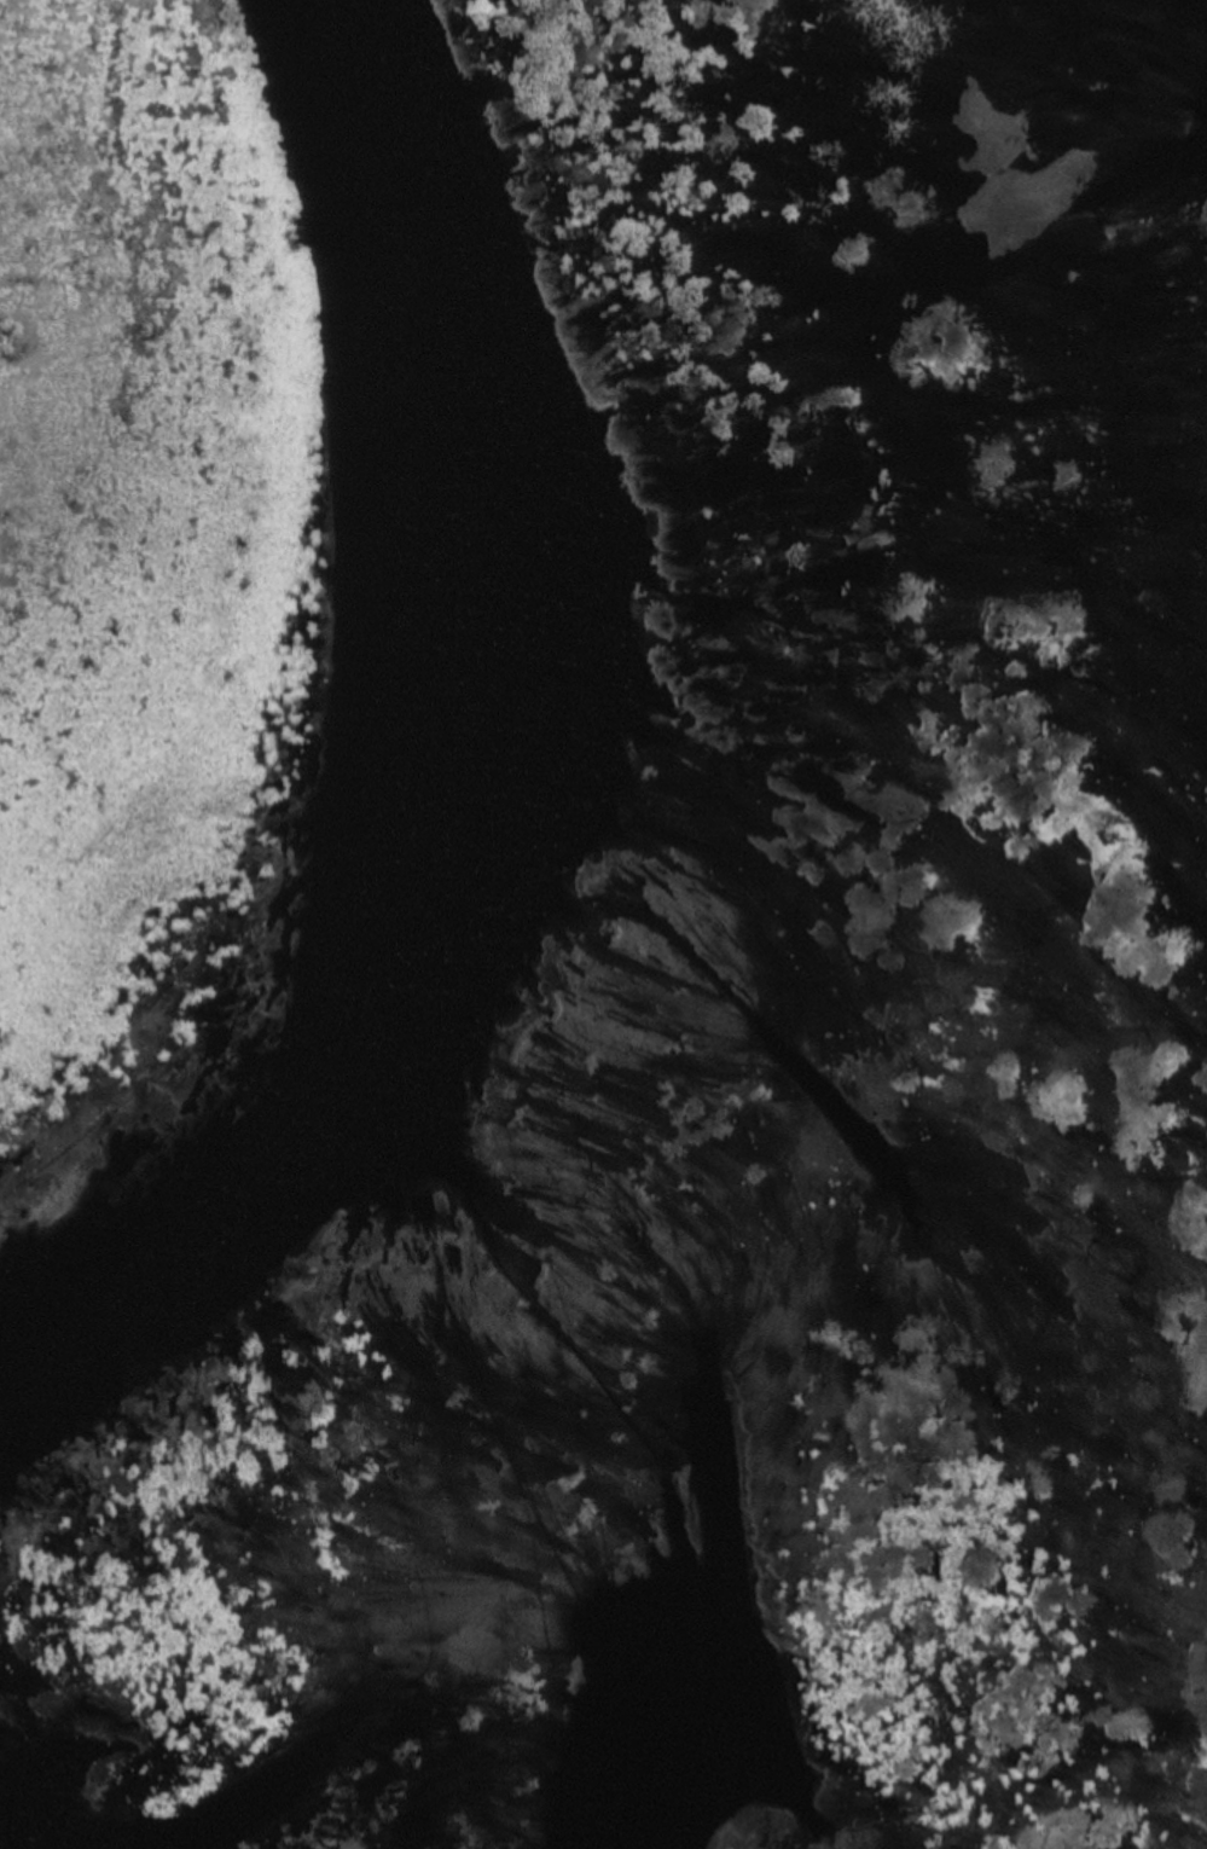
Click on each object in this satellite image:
river: (434, 753)

